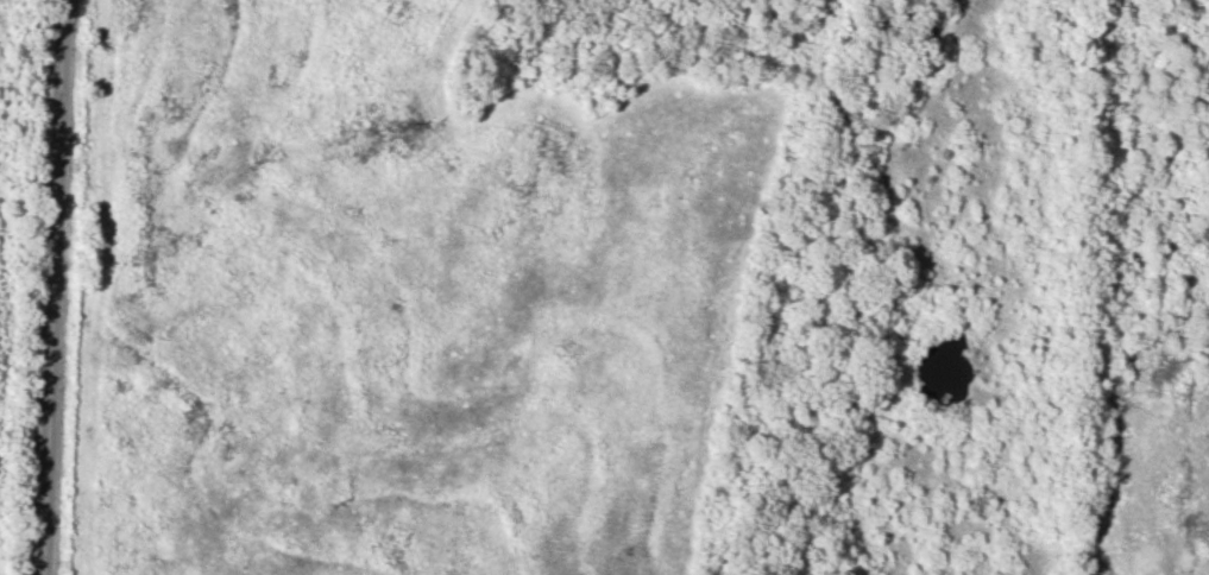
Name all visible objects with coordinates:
road: (53, 287)
park: (637, 287)

